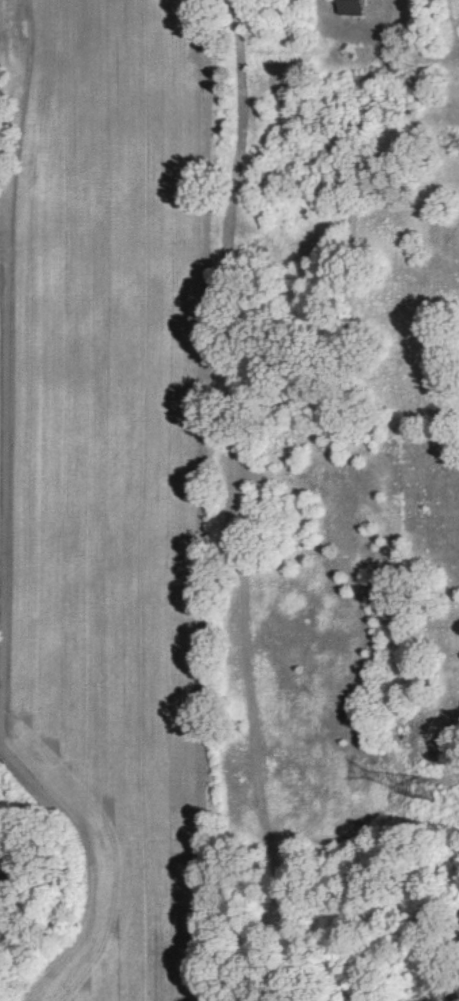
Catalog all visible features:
road: (396, 27)
power tower: (426, 788)

